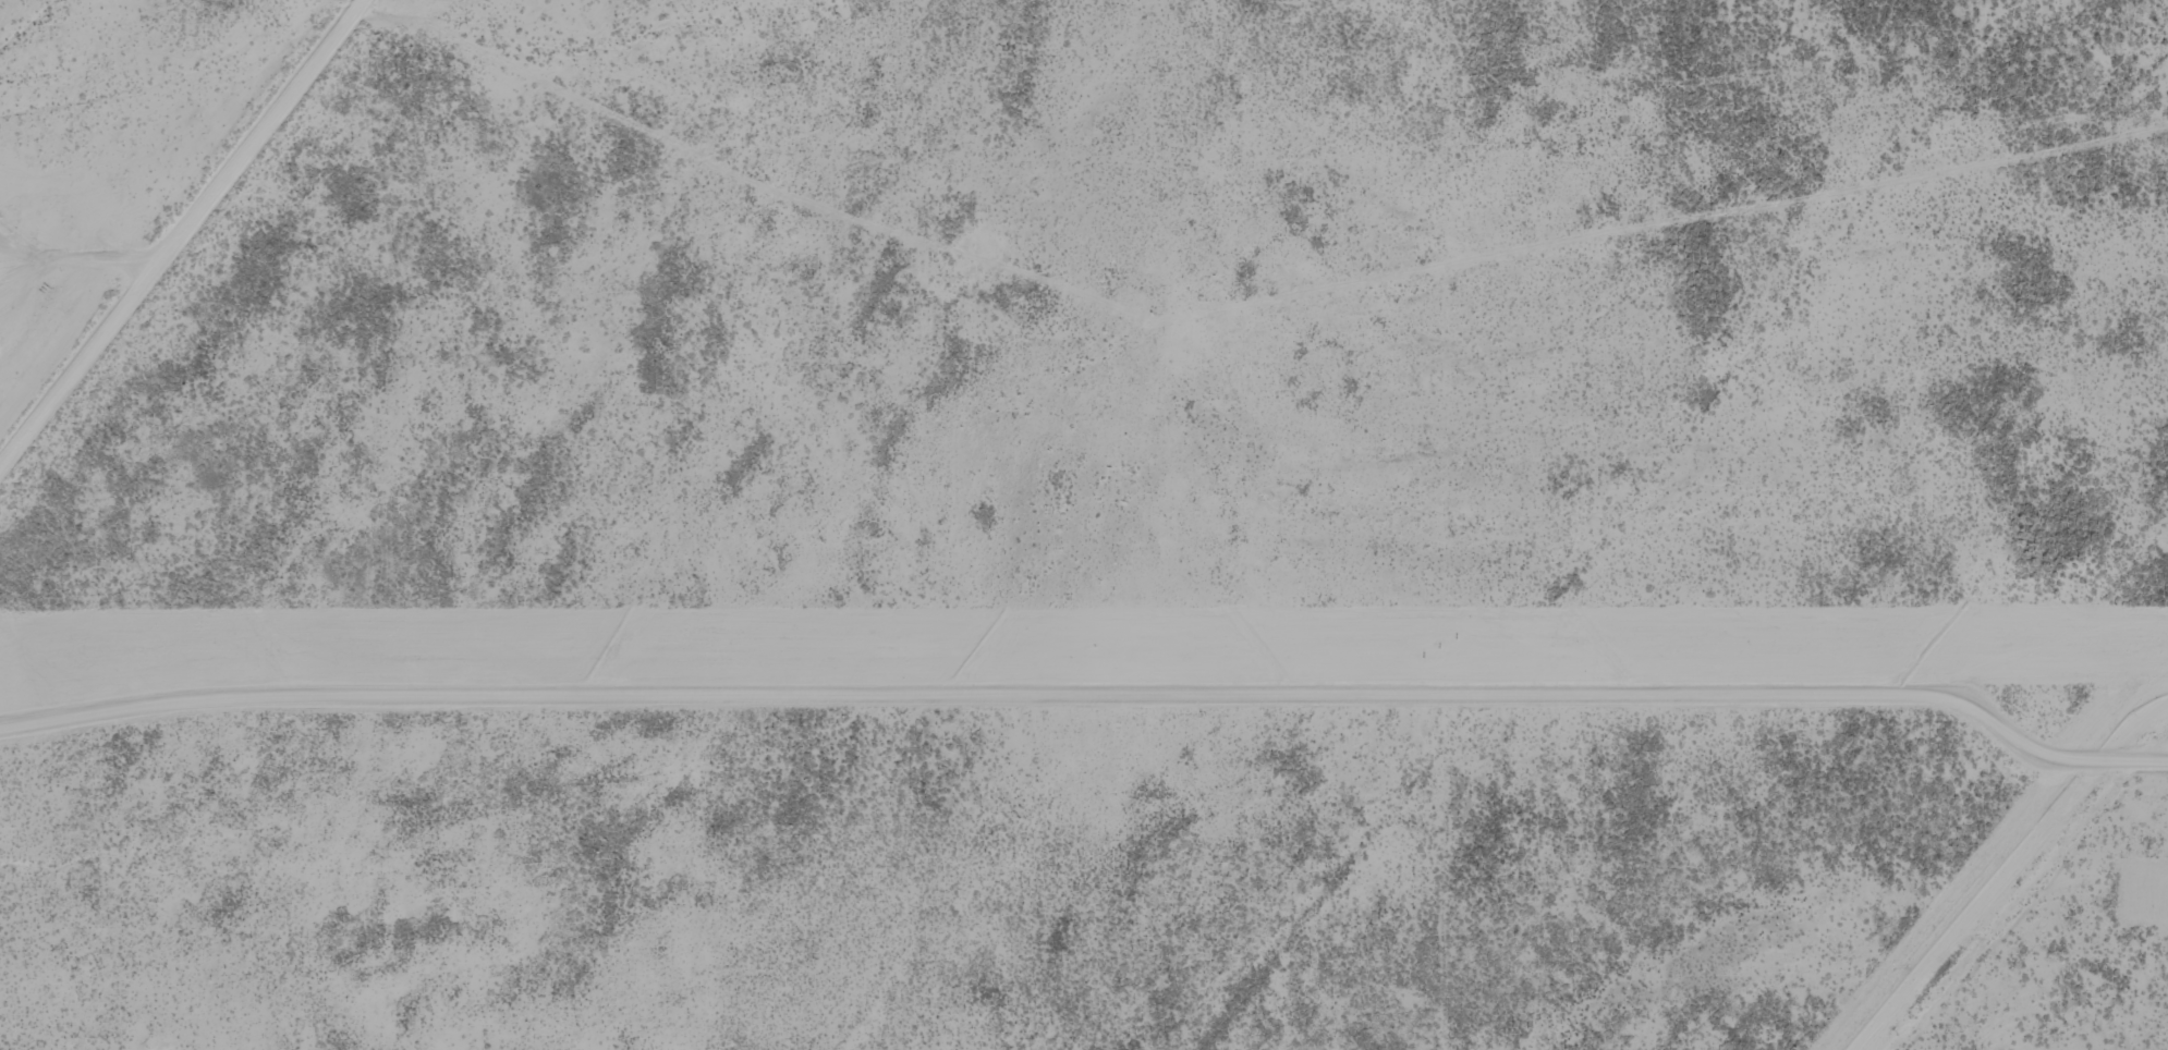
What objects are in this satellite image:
road: (747, 109)
road: (172, 227)

